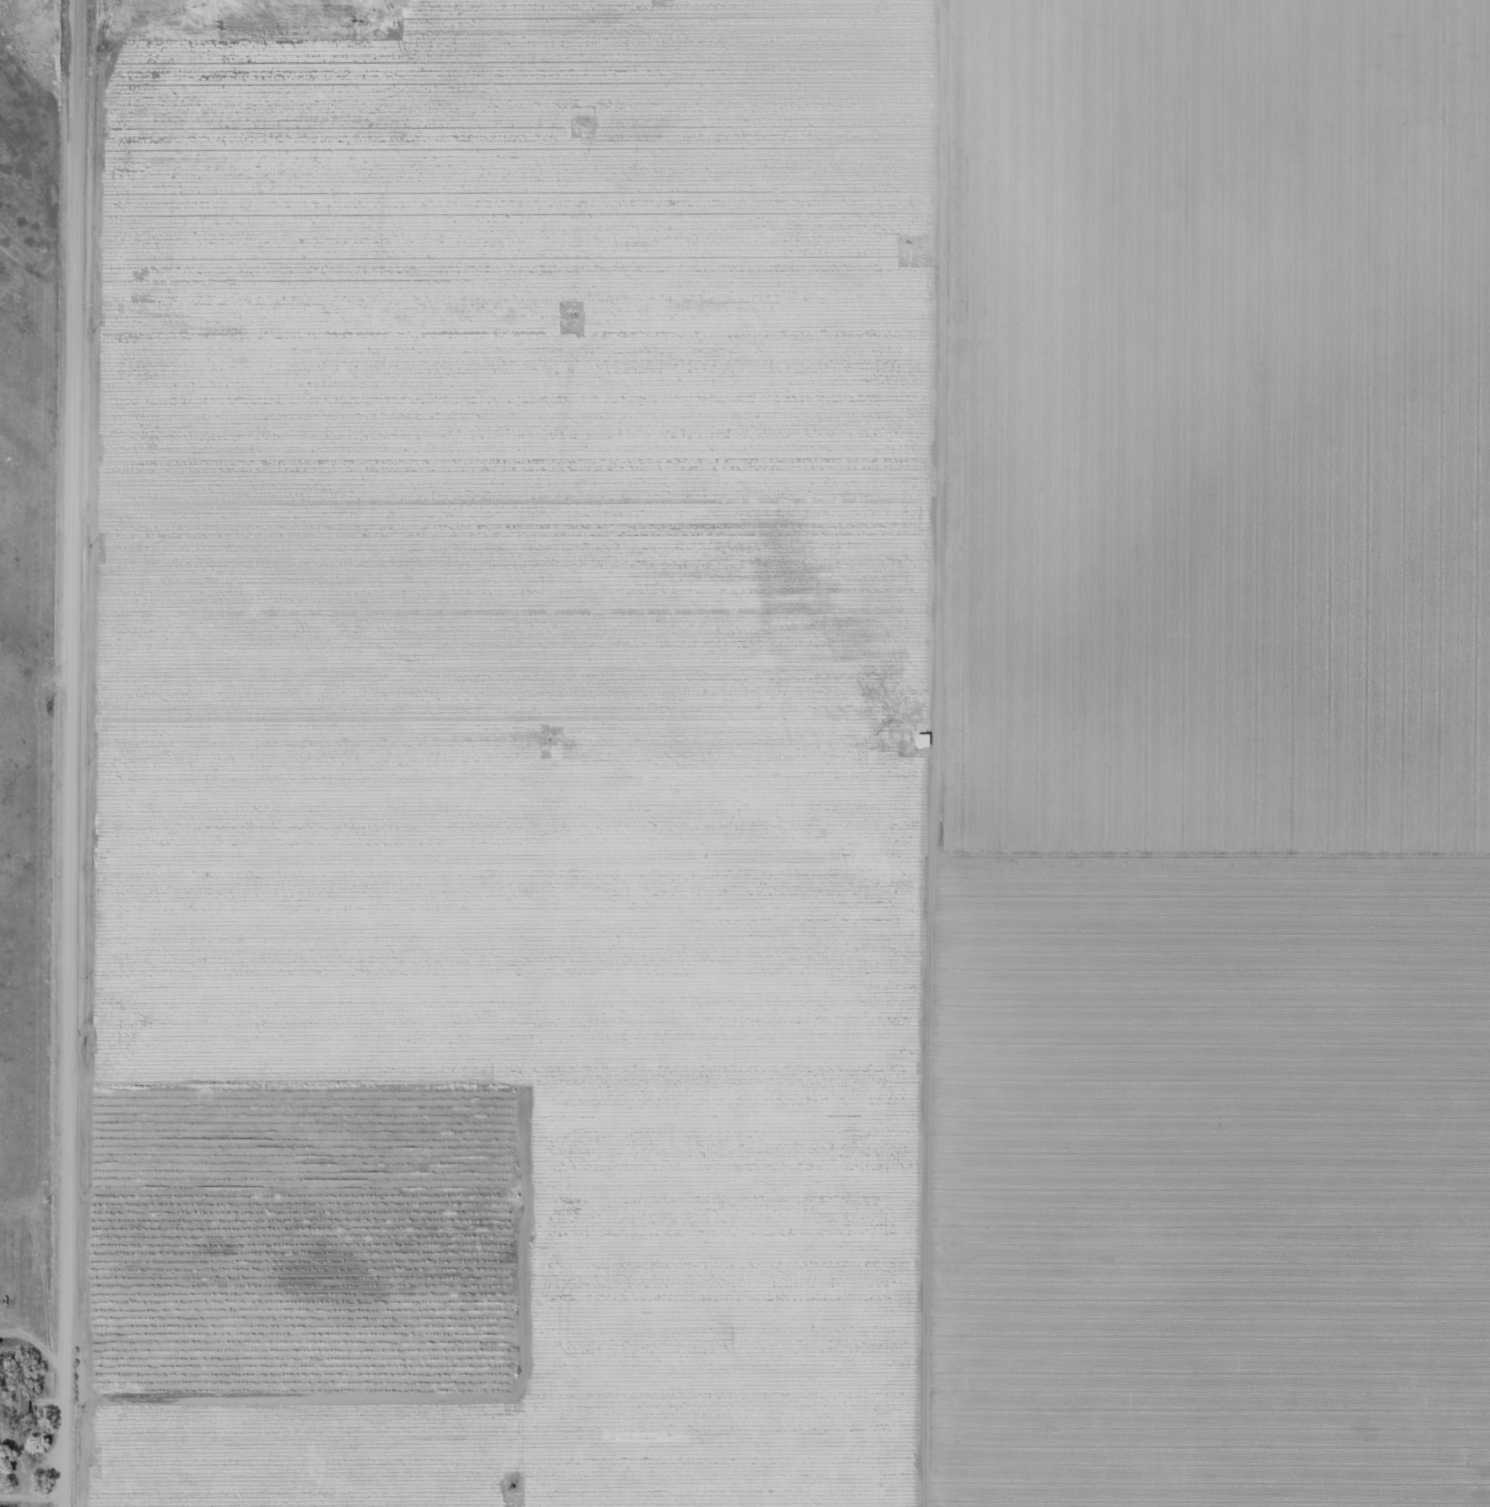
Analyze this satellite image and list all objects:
road: (73, 753)

